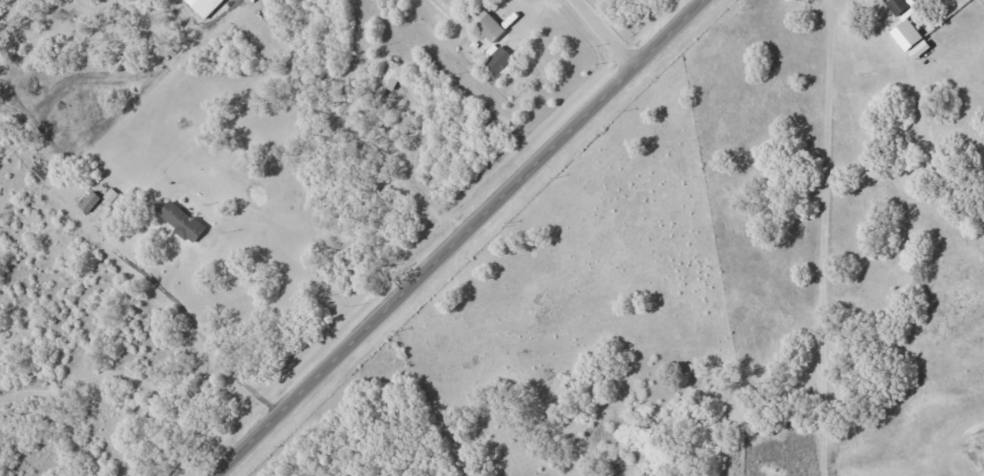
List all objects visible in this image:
building: (918, 0)
building: (898, 6)
building: (207, 7)
building: (488, 26)
road: (603, 35)
building: (497, 59)
building: (386, 79)
building: (90, 201)
building: (183, 222)
road: (822, 237)
road: (462, 238)

